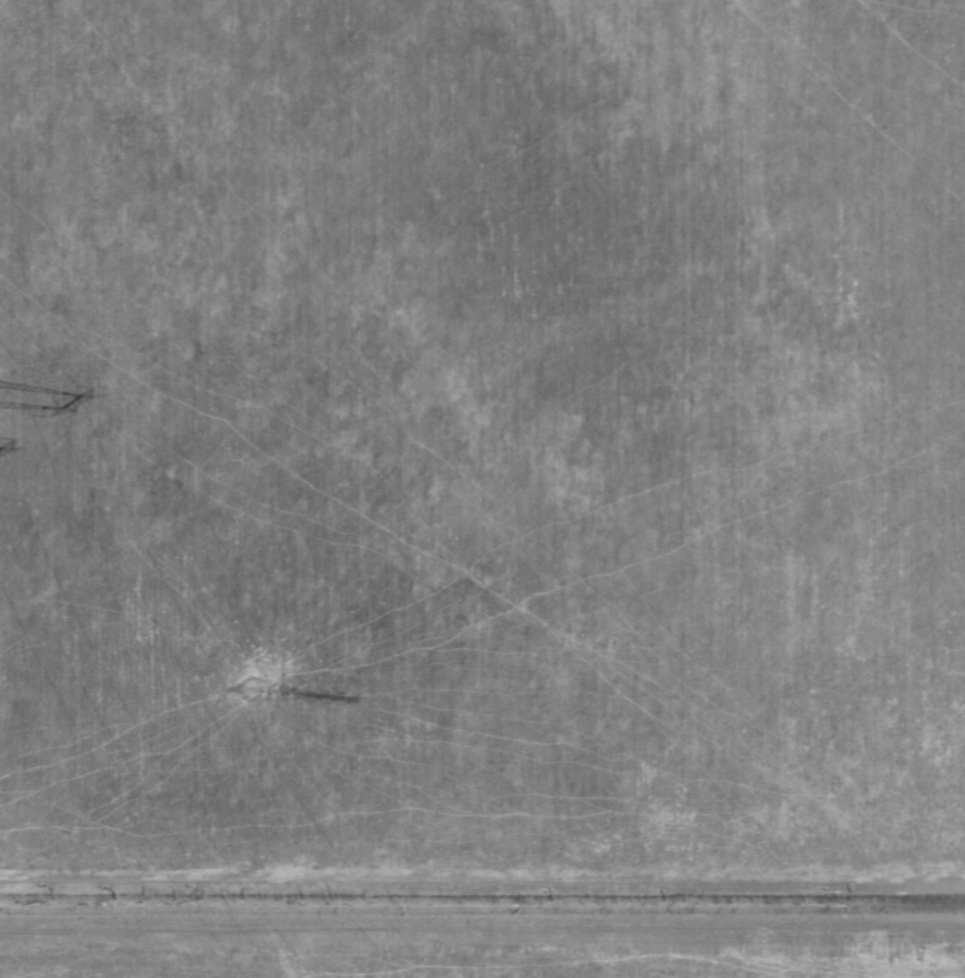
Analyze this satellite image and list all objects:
power tower: (266, 706)

